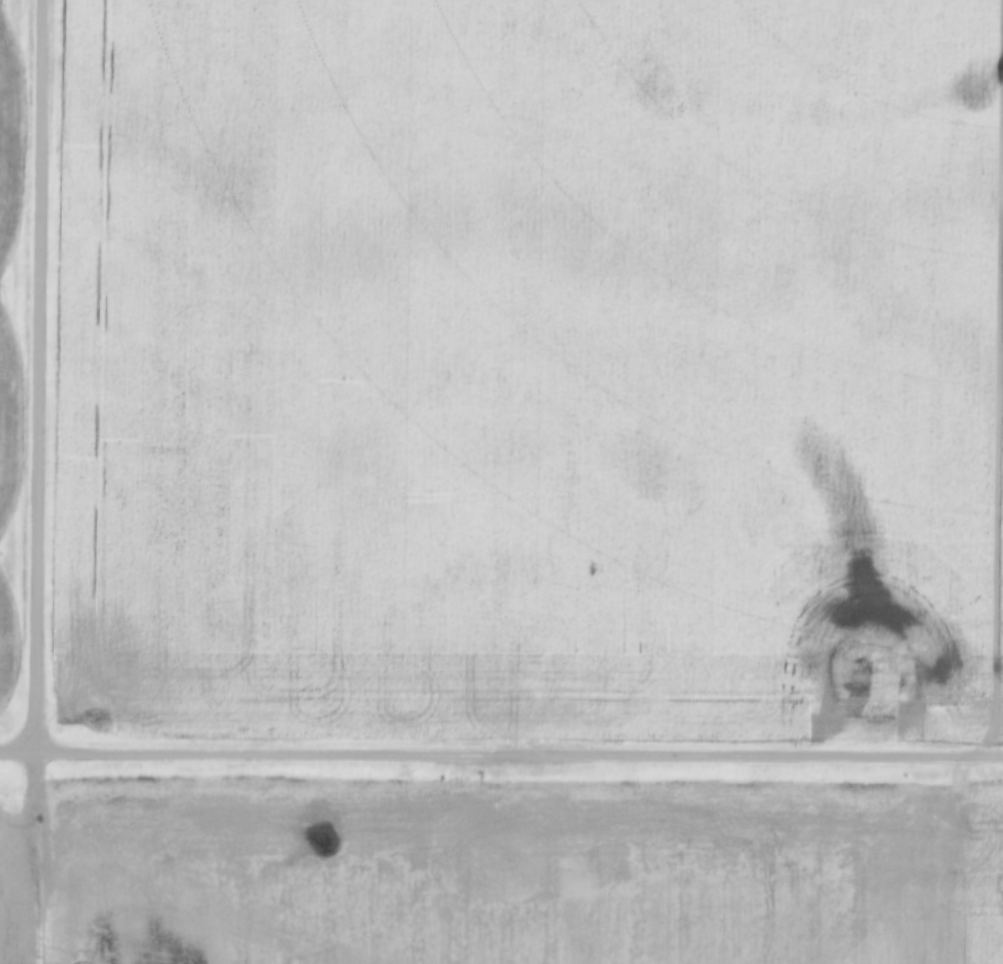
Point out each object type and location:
road: (28, 373)
road: (11, 751)
road: (512, 754)
crop: (978, 876)

